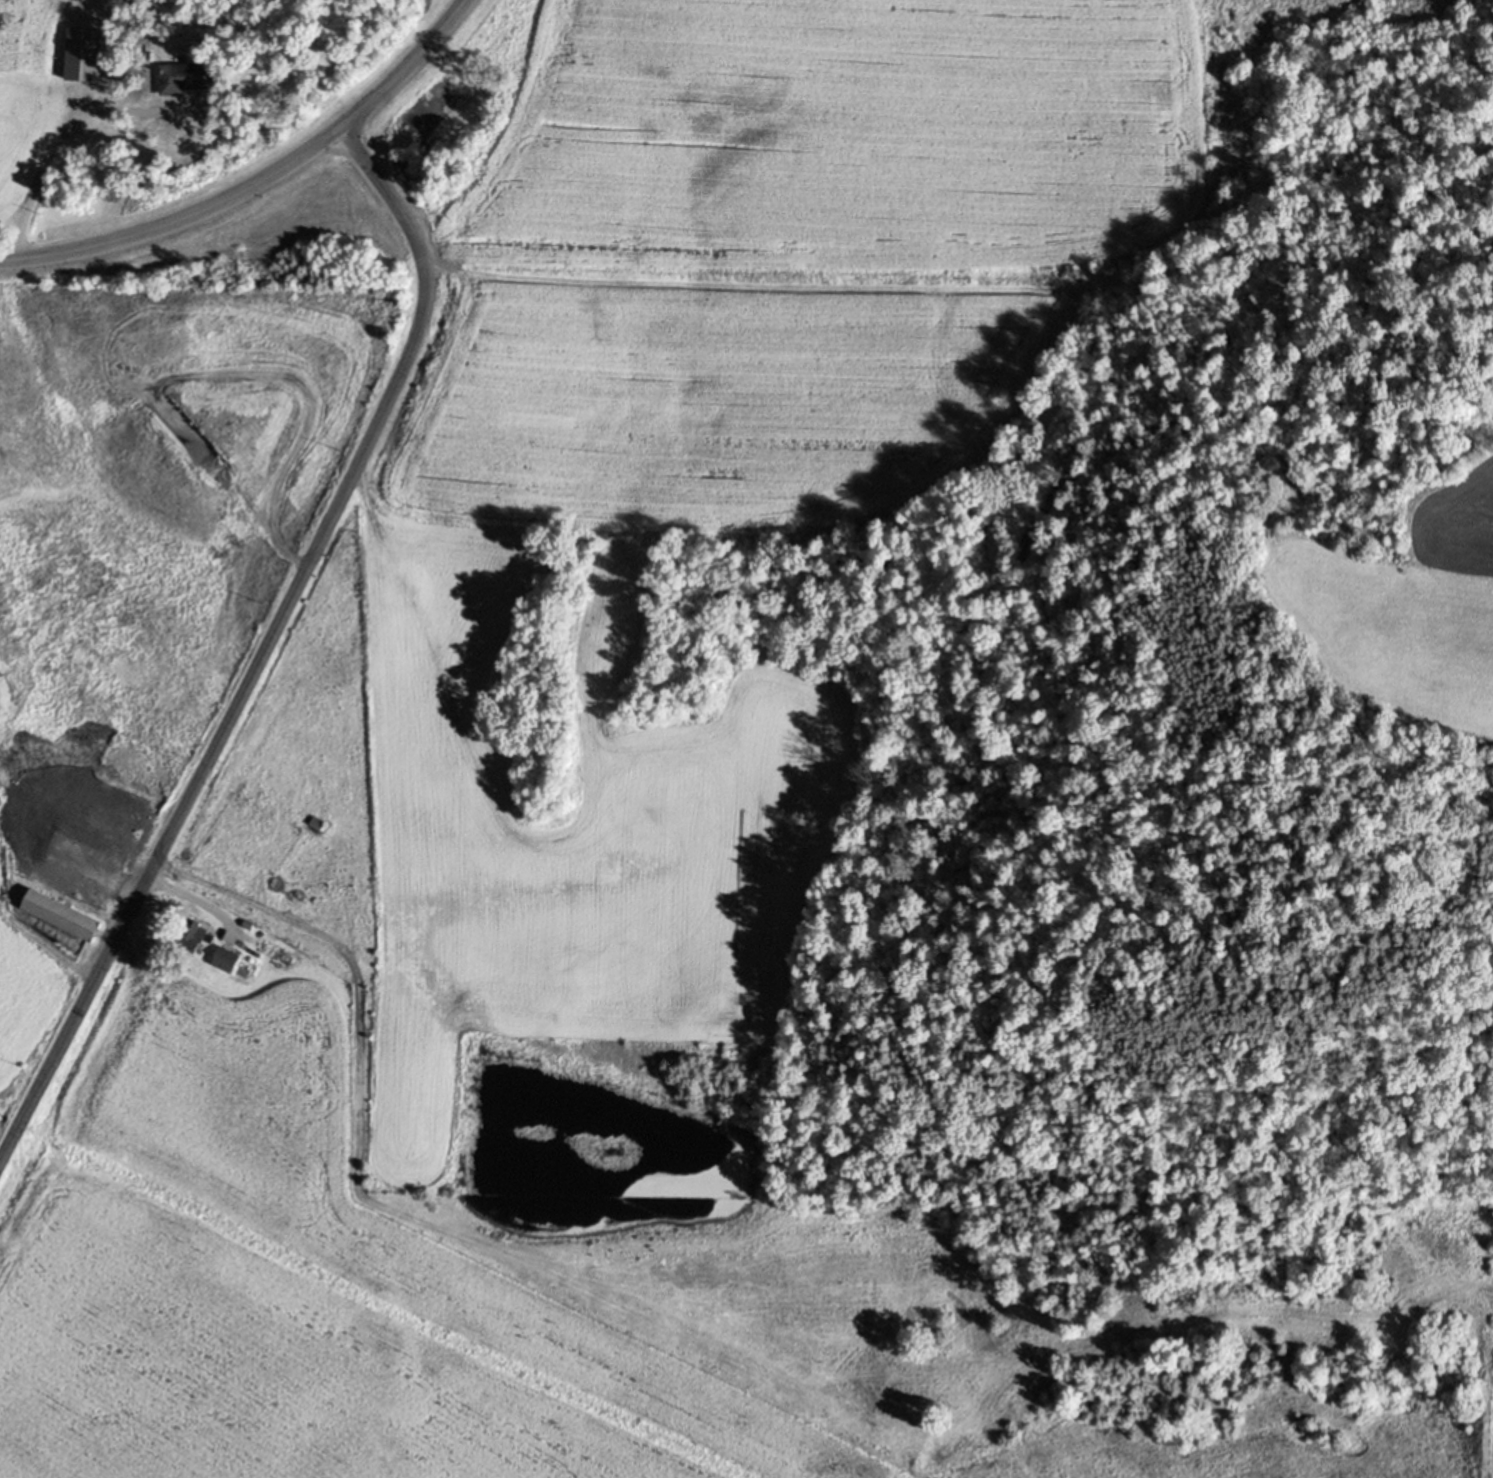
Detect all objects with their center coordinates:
building: (112, 34)
building: (84, 52)
building: (185, 75)
road: (55, 145)
road: (259, 180)
road: (264, 645)
building: (14, 806)
building: (144, 815)
building: (114, 820)
building: (317, 821)
building: (114, 857)
building: (69, 868)
building: (60, 912)
building: (248, 923)
building: (194, 933)
building: (276, 951)
building: (225, 958)

